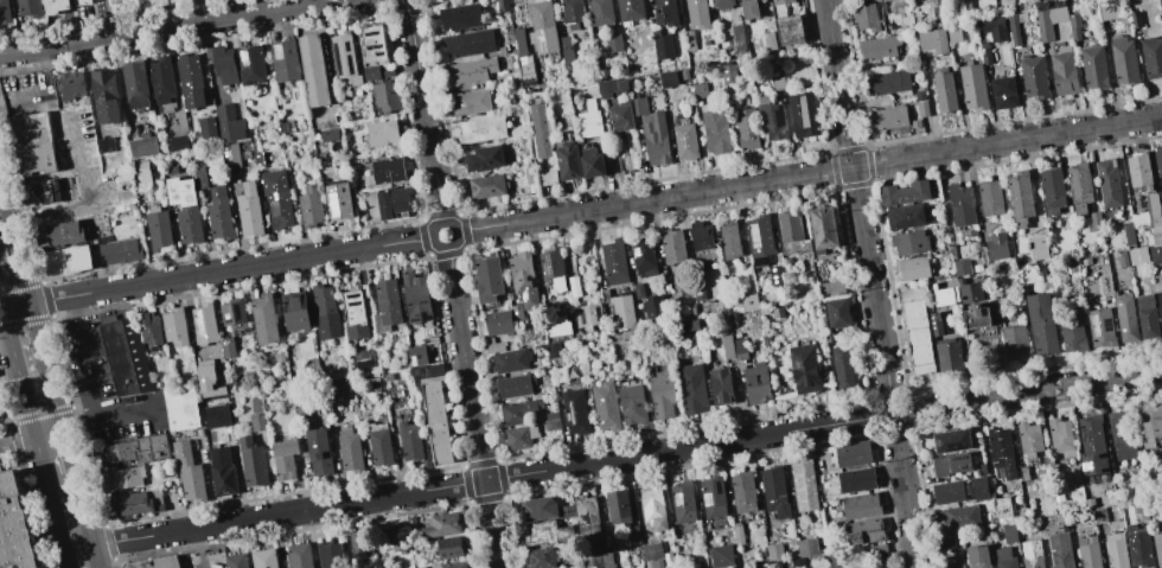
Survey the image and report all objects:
building: (886, 0)
building: (82, 1)
building: (114, 1)
building: (781, 1)
building: (721, 4)
building: (1048, 4)
building: (500, 5)
building: (55, 6)
building: (28, 8)
building: (749, 8)
building: (630, 9)
building: (1109, 9)
building: (4, 12)
building: (599, 12)
building: (665, 12)
building: (1161, 12)
building: (572, 13)
building: (696, 14)
building: (460, 17)
building: (866, 17)
building: (1021, 17)
building: (1134, 19)
building: (1049, 21)
building: (1074, 25)
road: (161, 26)
building: (543, 26)
building: (994, 27)
building: (1013, 30)
building: (788, 31)
rooftop solar panel: (373, 32)
building: (952, 33)
building: (644, 36)
building: (738, 37)
building: (688, 39)
building: (768, 40)
building: (933, 40)
building: (519, 42)
building: (373, 43)
rooftop solar panel: (539, 43)
building: (467, 44)
building: (613, 44)
rooftop solar panel: (346, 45)
rooftop solar panel: (377, 45)
rooftop solar panel: (369, 46)
building: (663, 46)
building: (879, 46)
building: (568, 49)
rooftop solar panel: (281, 50)
rooftop solar panel: (379, 52)
building: (984, 52)
building: (1151, 57)
building: (344, 58)
building: (283, 59)
rooftop solar panel: (337, 59)
building: (1124, 60)
rooftop solar panel: (349, 62)
building: (224, 63)
building: (250, 64)
building: (1094, 66)
building: (313, 70)
building: (378, 70)
building: (470, 71)
building: (1064, 71)
building: (525, 74)
building: (728, 74)
building: (1033, 77)
building: (666, 78)
building: (190, 79)
building: (777, 82)
building: (887, 82)
building: (135, 83)
building: (161, 83)
building: (70, 84)
building: (613, 87)
building: (972, 87)
building: (700, 90)
building: (944, 90)
building: (1004, 92)
building: (104, 95)
building: (385, 96)
building: (471, 102)
building: (921, 103)
road: (422, 109)
building: (803, 114)
rooftop solar panel: (778, 115)
building: (888, 117)
building: (771, 119)
building: (588, 120)
building: (619, 120)
building: (229, 123)
building: (914, 123)
building: (206, 127)
building: (746, 128)
building: (480, 129)
building: (538, 129)
building: (715, 130)
building: (381, 133)
building: (651, 133)
building: (328, 134)
building: (684, 141)
building: (178, 142)
building: (33, 143)
building: (104, 145)
building: (141, 147)
building: (230, 155)
building: (484, 158)
building: (257, 159)
building: (567, 159)
building: (1157, 160)
building: (590, 162)
building: (387, 170)
building: (143, 172)
building: (1139, 172)
road: (809, 173)
building: (529, 175)
building: (547, 175)
building: (200, 179)
building: (1107, 183)
building: (486, 185)
building: (1079, 186)
building: (1052, 190)
building: (41, 192)
building: (904, 192)
building: (276, 198)
building: (990, 198)
building: (1020, 198)
building: (338, 199)
building: (388, 202)
road: (857, 203)
building: (959, 204)
building: (309, 205)
building: (185, 210)
building: (248, 211)
building: (218, 212)
building: (906, 217)
building: (1153, 218)
building: (1094, 221)
building: (158, 229)
building: (823, 229)
building: (791, 232)
building: (972, 232)
building: (1128, 232)
building: (60, 234)
rooftop solar panel: (756, 235)
road: (456, 237)
building: (728, 240)
building: (759, 240)
building: (702, 241)
building: (909, 242)
building: (672, 244)
building: (996, 245)
building: (1036, 247)
building: (954, 249)
building: (120, 250)
building: (1155, 254)
building: (643, 255)
building: (1137, 256)
building: (66, 259)
building: (1085, 261)
building: (1123, 261)
building: (613, 262)
building: (960, 266)
building: (977, 267)
building: (1071, 267)
building: (912, 268)
rooftop solar panel: (550, 269)
building: (551, 269)
building: (1040, 269)
road: (217, 270)
building: (777, 275)
building: (486, 277)
building: (523, 279)
rooftop solar panel: (534, 280)
rooftop solar panel: (532, 286)
building: (573, 286)
building: (830, 288)
building: (638, 291)
rooftop solar panel: (351, 294)
building: (700, 294)
rooftop solar panel: (525, 295)
building: (605, 295)
building: (941, 295)
building: (415, 298)
road: (1, 302)
rooftop solar panel: (353, 302)
road: (31, 304)
building: (972, 304)
building: (1160, 304)
building: (746, 305)
rooftop solar panel: (226, 306)
road: (75, 307)
building: (385, 308)
building: (653, 308)
rooftop solar panel: (238, 309)
building: (294, 311)
building: (324, 312)
building: (353, 312)
building: (516, 312)
building: (624, 312)
building: (777, 312)
building: (837, 313)
rooftop solar panel: (596, 314)
building: (236, 315)
building: (587, 315)
building: (1145, 315)
rooftop solar panel: (582, 317)
rooftop solar panel: (229, 318)
building: (1125, 318)
building: (264, 319)
building: (498, 323)
building: (204, 324)
building: (692, 324)
building: (936, 324)
building: (1041, 324)
rooftop solar panel: (1107, 324)
building: (557, 325)
rooftop solar panel: (1094, 325)
building: (174, 326)
building: (1100, 326)
building: (149, 327)
building: (1072, 331)
building: (918, 337)
road: (6, 343)
building: (1014, 343)
building: (492, 345)
building: (226, 346)
building: (727, 346)
building: (739, 347)
building: (553, 350)
building: (124, 355)
building: (417, 355)
building: (947, 356)
building: (277, 357)
building: (360, 358)
building: (510, 359)
rooftop solar panel: (802, 363)
building: (803, 369)
building: (426, 370)
building: (844, 370)
building: (206, 378)
building: (756, 383)
building: (373, 384)
building: (515, 385)
building: (721, 385)
building: (691, 388)
building: (336, 389)
road: (1029, 390)
building: (662, 394)
road: (96, 398)
building: (632, 404)
building: (605, 406)
road: (472, 407)
building: (181, 408)
road: (28, 409)
building: (519, 410)
building: (1, 411)
building: (575, 411)
building: (301, 413)
road: (893, 413)
road: (79, 416)
building: (216, 416)
building: (551, 421)
building: (256, 422)
building: (436, 422)
building: (1149, 422)
road: (49, 430)
building: (1122, 434)
building: (518, 436)
building: (1060, 436)
building: (1028, 439)
road: (17, 440)
building: (951, 440)
building: (409, 441)
building: (378, 443)
building: (1091, 445)
rooftop solar panel: (951, 446)
road: (68, 449)
building: (349, 449)
building: (136, 451)
building: (318, 451)
building: (1001, 451)
building: (853, 454)
rooftop solar panel: (960, 457)
building: (283, 459)
building: (253, 462)
building: (951, 464)
rooftop solar panel: (963, 466)
building: (187, 471)
building: (223, 472)
building: (1022, 472)
building: (124, 478)
road: (490, 478)
building: (855, 479)
building: (804, 485)
rooftop solar panel: (719, 487)
building: (979, 489)
building: (774, 491)
building: (742, 492)
building: (949, 492)
road: (906, 493)
building: (713, 497)
rooftop solar panel: (678, 498)
rooftop solar panel: (708, 499)
building: (682, 502)
building: (1088, 503)
building: (133, 504)
building: (1077, 504)
building: (861, 505)
building: (618, 506)
building: (653, 506)
building: (1002, 508)
building: (538, 509)
building: (585, 509)
building: (1099, 515)
building: (963, 517)
road: (87, 518)
building: (441, 524)
building: (15, 526)
road: (59, 531)
building: (863, 531)
road: (376, 532)
building: (544, 532)
building: (632, 534)
building: (738, 534)
building: (1008, 534)
building: (396, 537)
building: (944, 542)
building: (358, 545)
building: (1157, 545)
building: (448, 547)
building: (806, 547)
building: (1137, 547)
road: (78, 549)
building: (1060, 550)
building: (1116, 550)
building: (774, 551)
building: (1088, 551)
building: (879, 553)
building: (331, 555)
building: (652, 555)
building: (721, 555)
building: (300, 556)
building: (541, 557)
building: (979, 557)
building: (1035, 557)
building: (266, 559)
building: (668, 559)
building: (1005, 559)
road: (65, 560)
building: (835, 560)
building: (238, 561)
building: (599, 561)
building: (797, 561)
building: (954, 561)
building: (155, 563)
building: (451, 564)

